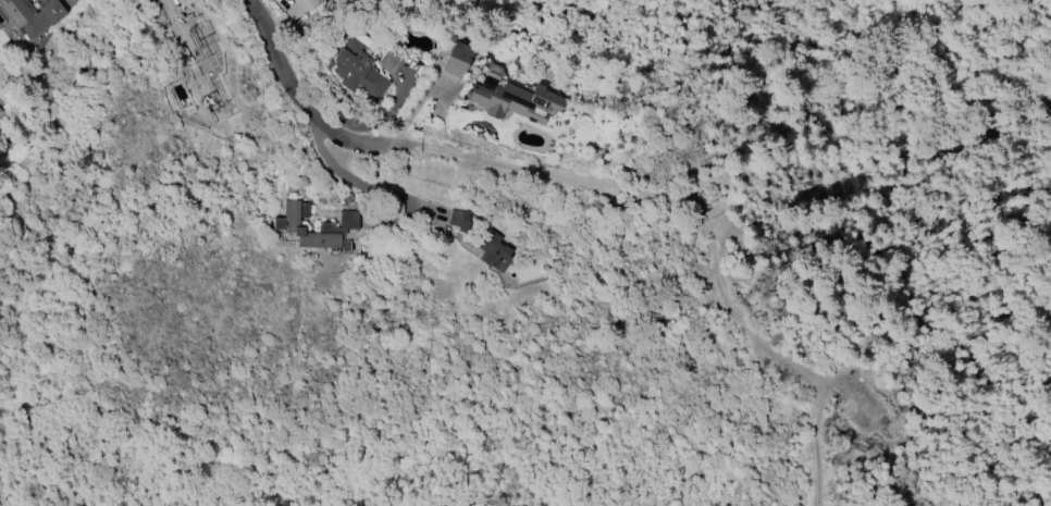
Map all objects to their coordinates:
building: (314, 3)
building: (32, 15)
building: (208, 38)
building: (457, 59)
building: (388, 63)
building: (359, 69)
road: (283, 79)
road: (861, 86)
building: (200, 87)
building: (516, 101)
building: (1, 111)
road: (851, 115)
road: (771, 127)
road: (819, 150)
road: (511, 161)
road: (705, 174)
road: (915, 177)
road: (357, 184)
road: (998, 214)
building: (458, 220)
building: (284, 225)
building: (494, 252)
road: (762, 345)
road: (687, 373)

